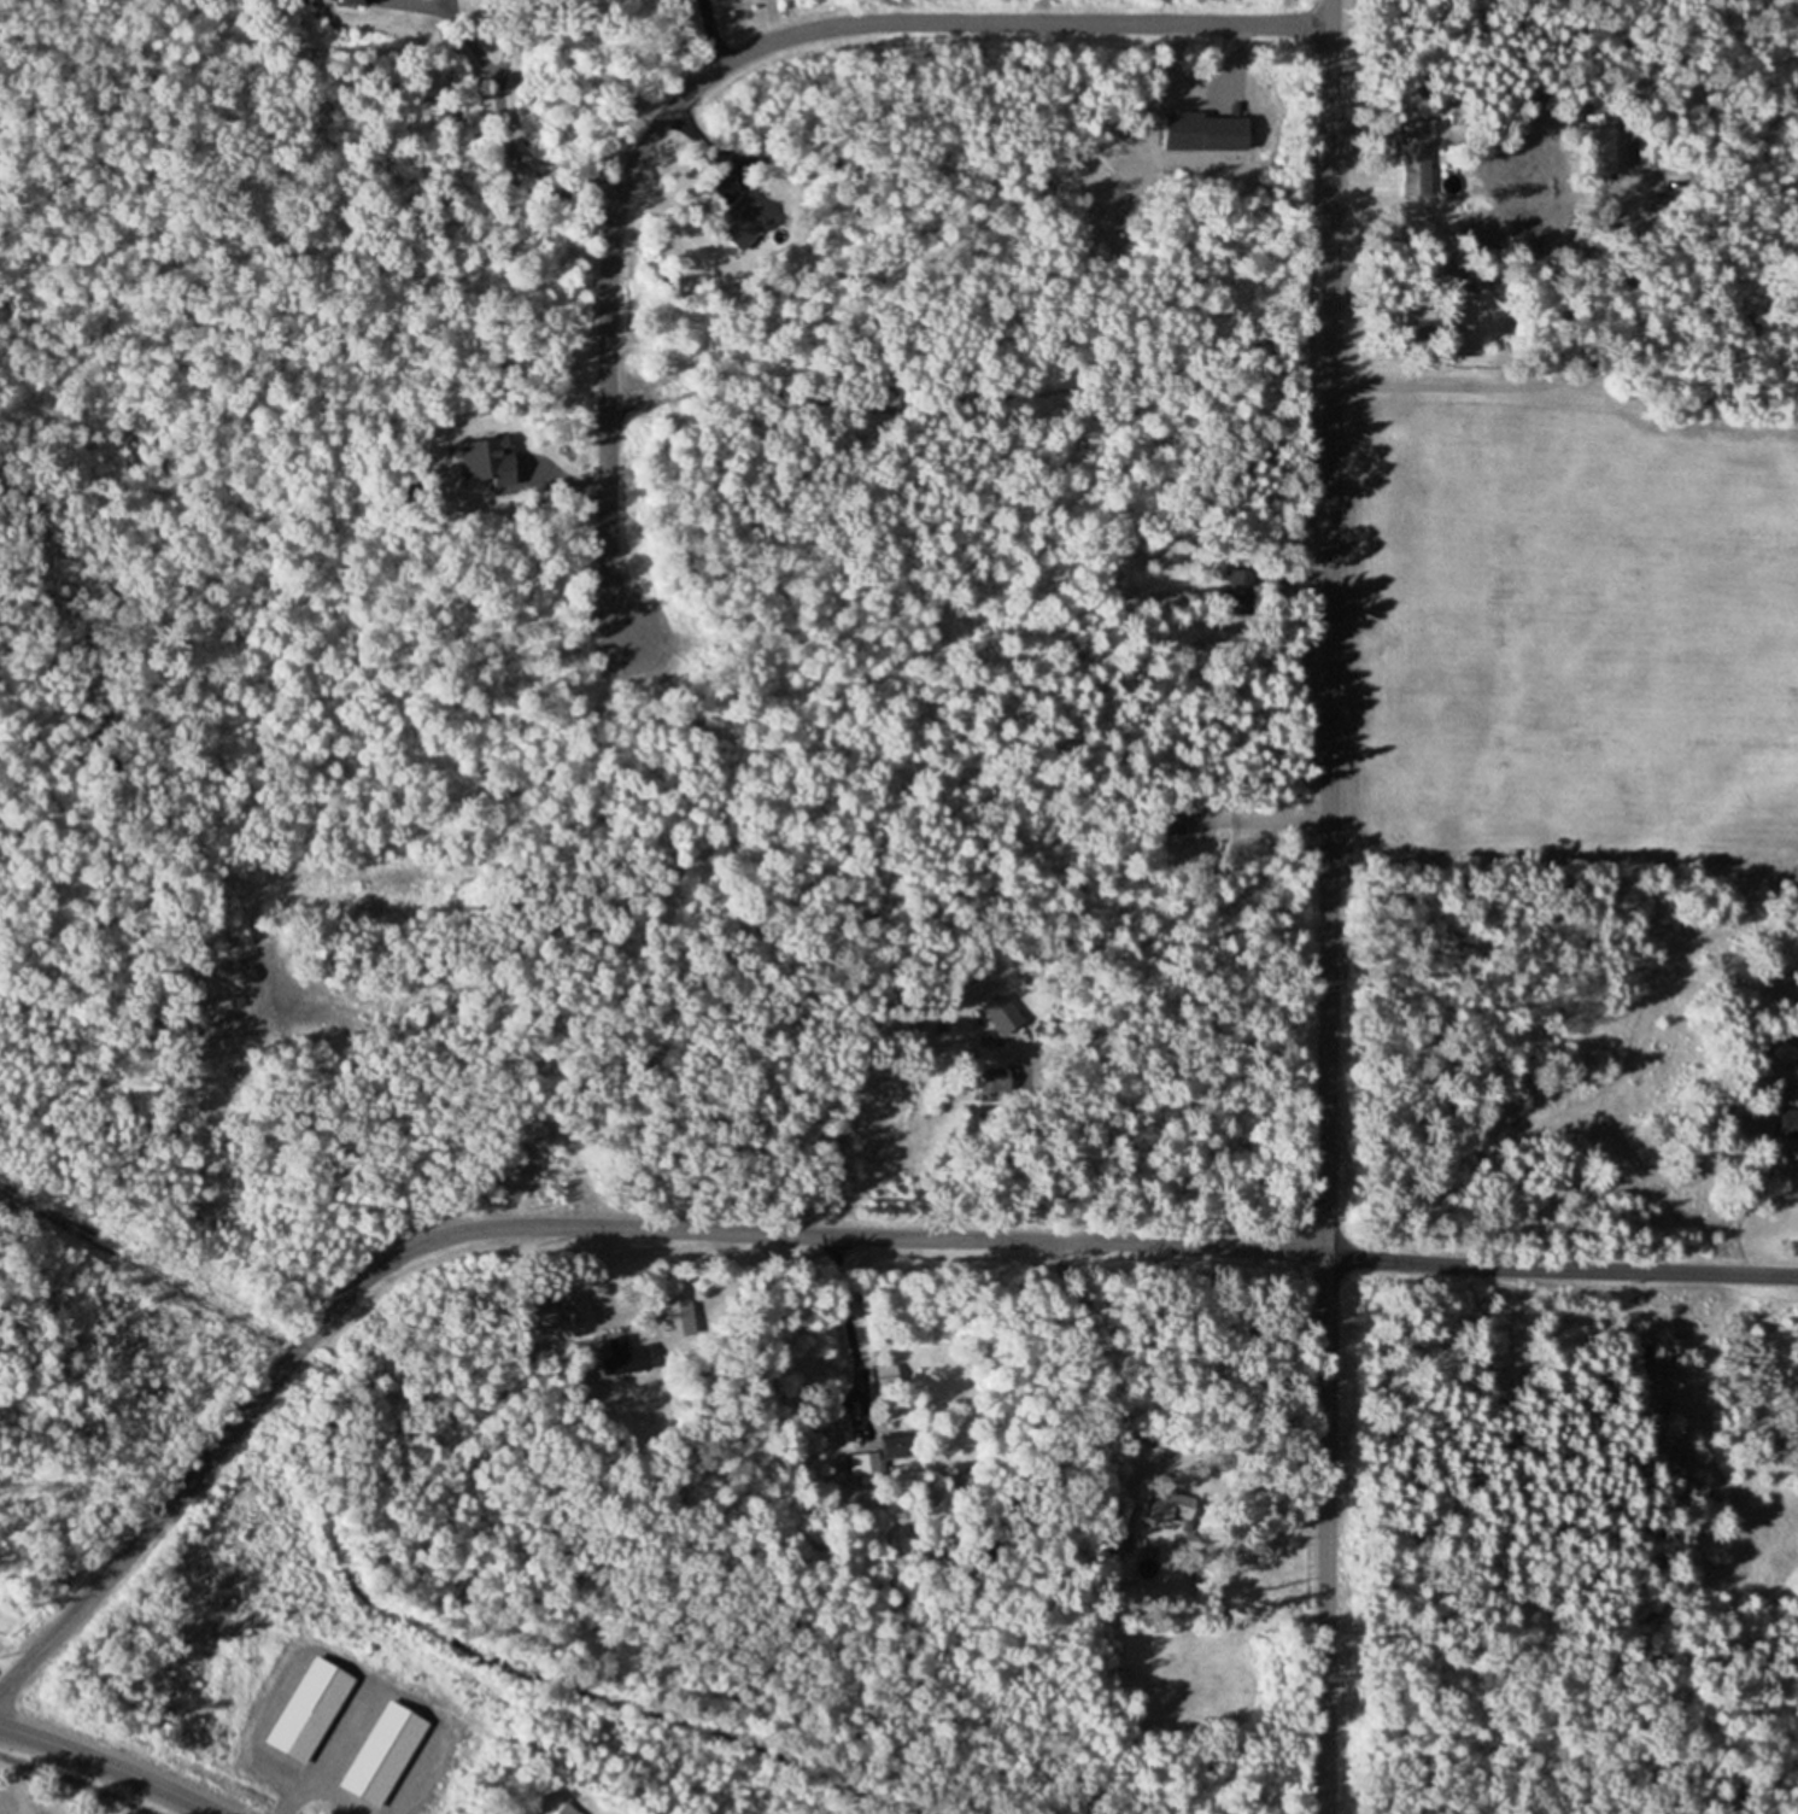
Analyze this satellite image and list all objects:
building: (357, 2)
road: (721, 65)
road: (511, 145)
building: (1598, 148)
building: (1647, 151)
building: (1410, 159)
road: (1499, 385)
crop: (1570, 627)
road: (1326, 907)
building: (1790, 1125)
road: (797, 1233)
building: (678, 1317)
building: (885, 1377)
building: (866, 1463)
building: (1171, 1508)
building: (322, 1690)
building: (383, 1755)
road: (109, 1765)
road: (316, 1767)
building: (566, 1809)

